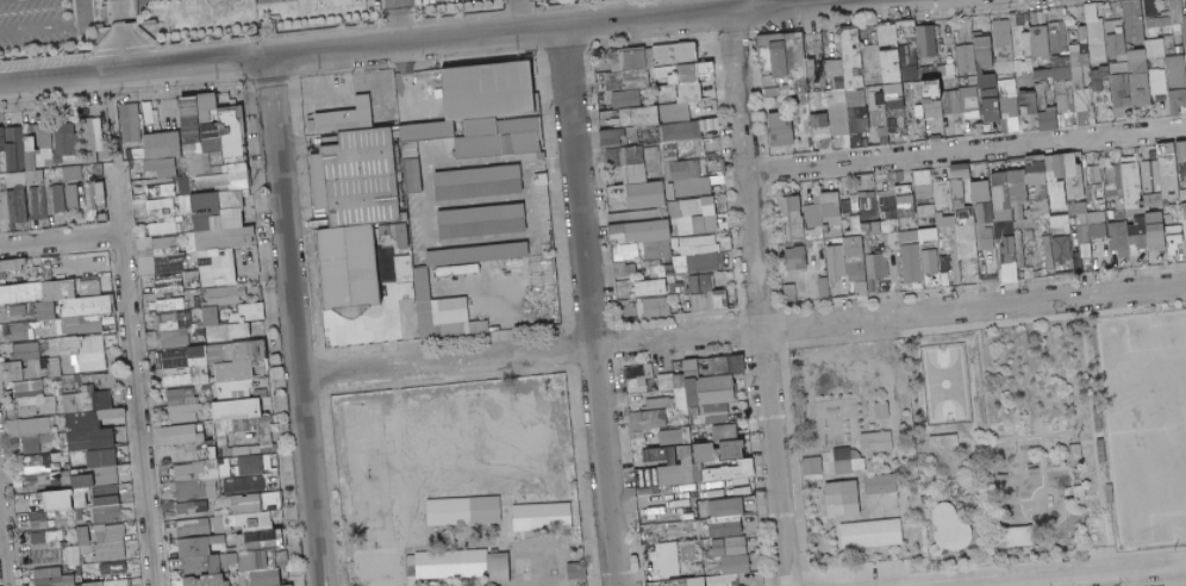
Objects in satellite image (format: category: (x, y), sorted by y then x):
building: (337, 4)
road: (507, 4)
road: (748, 4)
building: (1179, 4)
building: (1166, 7)
road: (392, 8)
building: (1088, 12)
building: (273, 17)
building: (1025, 17)
building: (1184, 17)
building: (1011, 19)
road: (508, 20)
building: (1131, 20)
building: (1157, 24)
building: (1112, 26)
road: (547, 27)
road: (50, 29)
road: (394, 30)
building: (904, 30)
building: (1123, 30)
building: (1094, 31)
building: (1000, 32)
building: (889, 33)
building: (1184, 33)
road: (124, 35)
building: (1081, 35)
building: (844, 36)
building: (1056, 37)
building: (768, 39)
building: (854, 39)
building: (903, 39)
building: (980, 39)
building: (925, 40)
building: (1017, 40)
building: (1040, 42)
building: (1113, 44)
building: (1136, 45)
building: (1026, 46)
building: (1128, 46)
building: (1153, 46)
building: (845, 51)
building: (916, 51)
building: (1168, 51)
building: (1096, 52)
building: (1134, 54)
building: (1003, 55)
building: (1076, 55)
building: (906, 56)
building: (982, 57)
building: (1121, 57)
building: (764, 58)
building: (778, 58)
building: (794, 58)
building: (889, 58)
building: (963, 58)
building: (631, 60)
building: (928, 60)
building: (1173, 60)
building: (1184, 60)
building: (1059, 61)
building: (813, 62)
building: (1104, 62)
building: (853, 63)
building: (870, 63)
building: (1157, 63)
building: (648, 66)
building: (1000, 66)
building: (1016, 66)
building: (1023, 66)
building: (1041, 66)
building: (1136, 66)
building: (760, 68)
building: (832, 68)
road: (131, 69)
building: (944, 69)
building: (1116, 69)
building: (1066, 70)
building: (654, 71)
building: (928, 73)
building: (1041, 73)
building: (666, 74)
building: (686, 74)
building: (909, 74)
building: (1154, 74)
building: (1185, 74)
building: (675, 75)
building: (891, 76)
building: (945, 76)
building: (1076, 76)
building: (1086, 77)
building: (1098, 77)
building: (1118, 77)
building: (851, 79)
building: (1174, 79)
building: (625, 80)
building: (775, 80)
building: (972, 80)
building: (767, 81)
building: (985, 81)
building: (782, 82)
building: (837, 82)
building: (866, 82)
building: (869, 82)
building: (873, 82)
building: (887, 82)
building: (928, 82)
building: (669, 83)
building: (656, 85)
building: (801, 87)
building: (1155, 87)
building: (486, 88)
building: (792, 88)
building: (860, 88)
building: (1006, 88)
building: (849, 89)
building: (916, 89)
building: (1047, 89)
building: (1138, 89)
building: (674, 91)
building: (770, 91)
building: (784, 91)
building: (891, 91)
building: (910, 91)
building: (930, 91)
building: (687, 93)
building: (1117, 93)
building: (1061, 94)
building: (838, 95)
building: (1040, 95)
building: (1101, 96)
building: (854, 98)
building: (864, 98)
building: (874, 98)
building: (624, 99)
building: (936, 99)
building: (967, 99)
building: (1068, 99)
building: (829, 100)
building: (1026, 100)
building: (1081, 100)
building: (1175, 100)
building: (879, 101)
building: (925, 101)
building: (949, 101)
building: (1124, 101)
building: (232, 102)
building: (988, 104)
building: (1009, 106)
building: (211, 107)
building: (226, 107)
building: (931, 110)
building: (894, 111)
building: (238, 112)
building: (674, 113)
building: (799, 114)
building: (972, 114)
building: (644, 116)
road: (112, 117)
building: (348, 117)
building: (625, 117)
building: (837, 118)
building: (857, 118)
building: (142, 119)
building: (868, 119)
building: (139, 120)
building: (818, 120)
building: (918, 120)
building: (129, 121)
building: (878, 123)
building: (889, 123)
building: (241, 124)
building: (709, 124)
building: (189, 126)
building: (779, 129)
building: (223, 131)
building: (226, 131)
building: (394, 131)
building: (679, 131)
building: (242, 133)
building: (641, 135)
building: (211, 137)
building: (231, 137)
building: (612, 137)
building: (820, 137)
building: (1, 139)
building: (15, 139)
building: (94, 139)
building: (243, 139)
building: (64, 142)
building: (42, 143)
building: (630, 143)
building: (161, 144)
building: (243, 149)
building: (395, 150)
building: (192, 151)
building: (360, 155)
building: (11, 156)
building: (244, 157)
building: (30, 158)
building: (216, 158)
building: (142, 162)
building: (2, 163)
building: (200, 164)
building: (20, 166)
building: (161, 167)
building: (235, 167)
building: (142, 169)
building: (398, 170)
building: (96, 172)
building: (1173, 172)
building: (70, 173)
building: (51, 174)
building: (150, 174)
building: (238, 175)
building: (32, 176)
building: (191, 176)
building: (14, 179)
building: (212, 180)
building: (318, 181)
building: (2, 182)
building: (40, 182)
building: (480, 182)
building: (182, 186)
building: (13, 188)
building: (199, 188)
building: (99, 191)
building: (160, 191)
building: (90, 195)
building: (71, 198)
building: (49, 199)
building: (58, 199)
building: (37, 200)
building: (867, 201)
building: (27, 202)
building: (1185, 204)
building: (17, 205)
building: (1006, 205)
building: (4, 206)
building: (656, 208)
building: (793, 216)
building: (483, 220)
building: (404, 236)
building: (920, 236)
building: (223, 237)
building: (1060, 244)
building: (1176, 244)
building: (626, 251)
building: (479, 254)
building: (161, 255)
building: (798, 257)
building: (860, 258)
building: (837, 261)
building: (931, 261)
building: (912, 263)
building: (704, 269)
building: (170, 282)
building: (651, 287)
building: (824, 287)
building: (85, 291)
building: (791, 293)
road: (756, 298)
building: (171, 304)
building: (61, 305)
road: (587, 306)
building: (655, 307)
building: (255, 312)
building: (444, 312)
road: (292, 319)
building: (176, 329)
building: (20, 331)
building: (241, 331)
building: (27, 350)
building: (79, 354)
building: (238, 360)
building: (188, 362)
building: (13, 370)
road: (132, 380)
building: (673, 381)
building: (714, 385)
building: (35, 399)
building: (658, 403)
building: (183, 405)
building: (884, 410)
building: (657, 418)
building: (89, 419)
park: (1143, 422)
building: (726, 432)
building: (31, 434)
building: (180, 435)
building: (676, 436)
building: (944, 441)
building: (878, 442)
building: (102, 457)
building: (849, 461)
building: (701, 462)
building: (38, 463)
building: (814, 465)
building: (252, 466)
building: (96, 479)
building: (881, 484)
building: (81, 498)
building: (844, 499)
building: (61, 500)
building: (107, 506)
building: (193, 507)
building: (466, 511)
building: (542, 516)
building: (728, 517)
building: (33, 520)
building: (254, 523)
building: (194, 528)
building: (873, 534)
building: (1022, 536)
building: (79, 547)
building: (734, 554)
building: (199, 555)
building: (256, 561)
building: (466, 565)
building: (667, 565)
building: (55, 578)
building: (268, 578)
building: (206, 580)
building: (720, 580)
building: (698, 581)
building: (116, 582)

